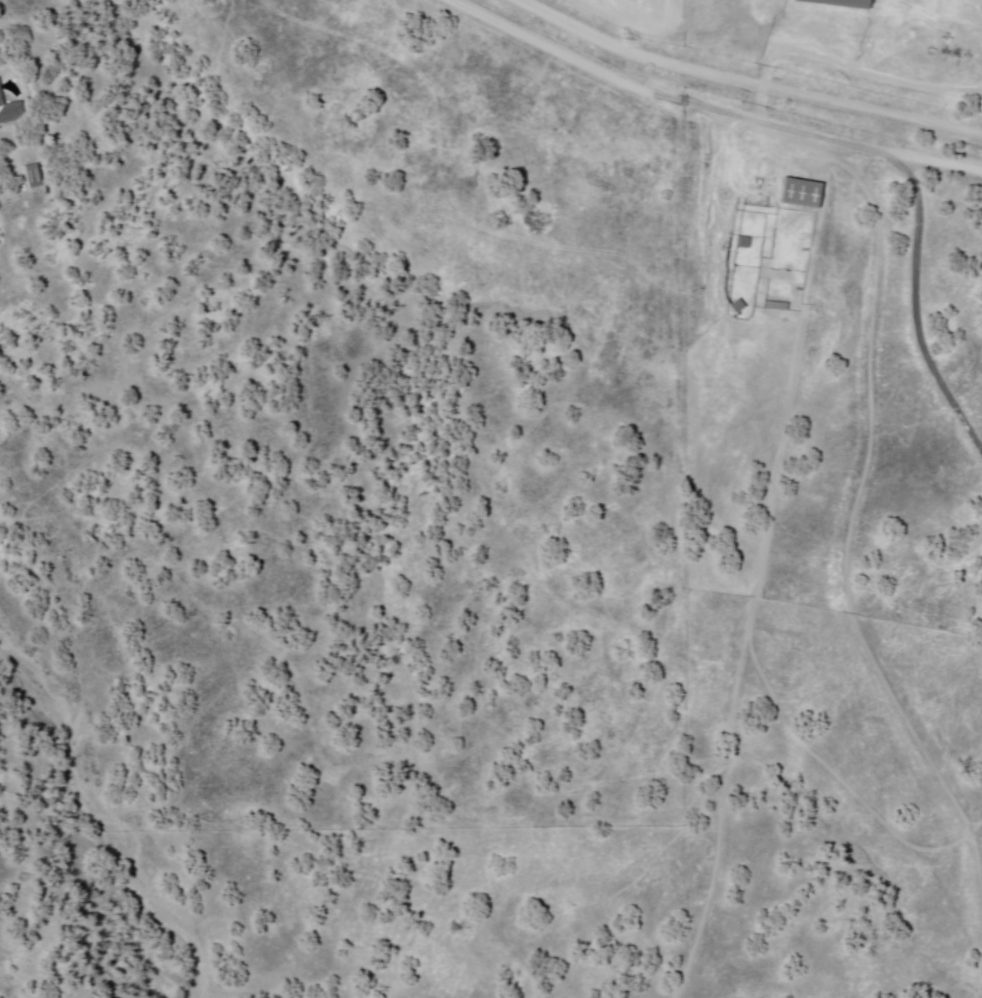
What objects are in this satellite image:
building: (851, 2)
road: (636, 55)
building: (12, 107)
road: (705, 107)
road: (872, 112)
building: (34, 174)
building: (801, 191)
building: (774, 307)

